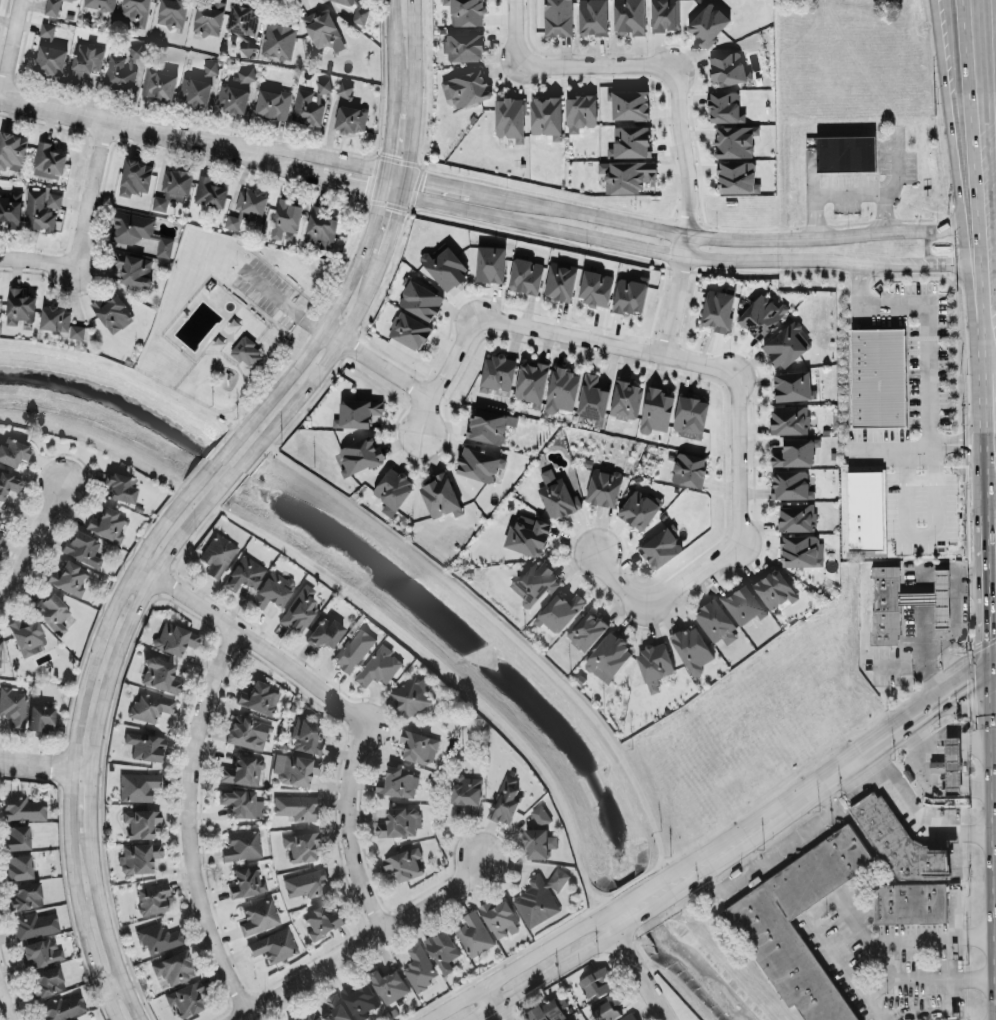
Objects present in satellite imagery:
building: (77, 0)
building: (100, 4)
building: (52, 7)
building: (357, 10)
building: (136, 11)
building: (466, 12)
building: (172, 13)
building: (664, 15)
building: (629, 16)
building: (558, 17)
building: (592, 17)
building: (208, 18)
road: (995, 18)
building: (708, 23)
building: (244, 24)
building: (47, 29)
building: (322, 30)
building: (278, 39)
building: (463, 46)
road: (11, 49)
road: (392, 55)
building: (50, 59)
building: (85, 60)
road: (650, 63)
building: (727, 67)
building: (122, 68)
building: (210, 68)
building: (159, 83)
building: (466, 87)
building: (344, 88)
building: (195, 90)
building: (235, 91)
building: (273, 102)
building: (310, 103)
building: (629, 104)
building: (725, 106)
building: (580, 111)
building: (546, 116)
building: (350, 117)
building: (509, 118)
road: (102, 119)
road: (950, 131)
road: (389, 140)
building: (735, 140)
building: (630, 141)
building: (12, 150)
building: (846, 153)
road: (295, 154)
building: (48, 158)
road: (291, 169)
building: (630, 175)
building: (135, 176)
building: (736, 177)
road: (893, 178)
road: (382, 180)
road: (977, 181)
building: (164, 183)
building: (174, 189)
building: (210, 192)
road: (808, 192)
road: (847, 193)
building: (251, 201)
building: (11, 208)
building: (41, 210)
building: (286, 217)
building: (232, 221)
building: (131, 227)
building: (320, 228)
road: (81, 231)
road: (670, 232)
road: (384, 242)
road: (683, 245)
building: (164, 246)
road: (669, 253)
building: (490, 263)
building: (133, 267)
building: (444, 267)
building: (525, 275)
building: (560, 279)
building: (595, 287)
building: (630, 294)
road: (278, 298)
building: (420, 299)
road: (673, 304)
building: (19, 306)
building: (718, 308)
building: (113, 312)
road: (972, 314)
building: (761, 315)
building: (55, 318)
road: (323, 323)
building: (409, 330)
building: (77, 331)
road: (329, 334)
building: (786, 344)
building: (247, 351)
road: (994, 354)
road: (927, 357)
road: (717, 364)
road: (384, 367)
building: (498, 371)
building: (878, 377)
building: (531, 382)
building: (792, 385)
building: (561, 389)
road: (993, 396)
building: (625, 399)
building: (656, 410)
building: (356, 412)
building: (690, 415)
building: (789, 419)
building: (488, 424)
road: (995, 443)
road: (961, 444)
building: (794, 452)
building: (13, 453)
building: (359, 455)
road: (214, 463)
building: (478, 463)
road: (994, 463)
building: (689, 469)
road: (232, 475)
building: (790, 484)
building: (9, 485)
building: (603, 487)
building: (121, 489)
building: (392, 490)
building: (556, 494)
building: (440, 495)
building: (639, 508)
building: (865, 510)
building: (796, 516)
building: (0, 520)
road: (995, 521)
building: (107, 527)
road: (914, 532)
building: (528, 536)
building: (1, 539)
road: (32, 542)
building: (660, 546)
building: (801, 550)
building: (83, 551)
road: (995, 551)
road: (995, 554)
building: (218, 556)
road: (995, 568)
road: (144, 572)
building: (245, 575)
building: (68, 580)
road: (995, 582)
building: (536, 584)
road: (923, 587)
building: (774, 588)
building: (273, 592)
building: (901, 603)
building: (744, 606)
building: (300, 611)
building: (52, 614)
building: (562, 614)
building: (719, 625)
road: (995, 627)
building: (589, 632)
building: (324, 634)
road: (953, 635)
building: (27, 638)
building: (175, 640)
building: (0, 650)
building: (694, 651)
building: (355, 652)
building: (611, 660)
building: (657, 667)
building: (380, 670)
traffic signals: (995, 672)
building: (160, 677)
building: (414, 698)
building: (260, 700)
building: (150, 708)
building: (14, 709)
road: (349, 716)
building: (41, 720)
building: (248, 735)
road: (904, 736)
building: (309, 738)
road: (74, 742)
building: (145, 748)
building: (421, 748)
road: (93, 749)
road: (45, 766)
building: (955, 767)
building: (296, 771)
building: (243, 773)
building: (400, 784)
building: (138, 788)
building: (469, 796)
building: (508, 803)
building: (242, 805)
building: (297, 809)
building: (23, 810)
building: (542, 817)
road: (921, 821)
building: (401, 824)
building: (141, 825)
road: (187, 826)
building: (16, 839)
building: (899, 843)
building: (541, 845)
building: (242, 847)
building: (301, 847)
building: (139, 860)
building: (407, 866)
building: (18, 869)
building: (247, 884)
building: (308, 885)
building: (26, 897)
building: (542, 900)
building: (153, 901)
building: (912, 905)
road: (620, 907)
road: (844, 909)
road: (646, 914)
building: (259, 918)
building: (503, 921)
building: (322, 923)
building: (35, 927)
building: (476, 936)
building: (158, 940)
road: (366, 942)
building: (274, 947)
building: (445, 953)
building: (42, 954)
road: (737, 958)
building: (789, 961)
road: (631, 969)
building: (174, 970)
building: (422, 970)
road: (927, 979)
building: (47, 983)
building: (598, 985)
building: (391, 986)
road: (113, 987)
building: (185, 1001)
building: (363, 1002)
road: (490, 1004)
road: (4, 1006)
building: (63, 1008)
building: (610, 1008)
building: (337, 1009)
building: (551, 1010)
road: (936, 1015)
building: (308, 1017)
building: (631, 1018)

